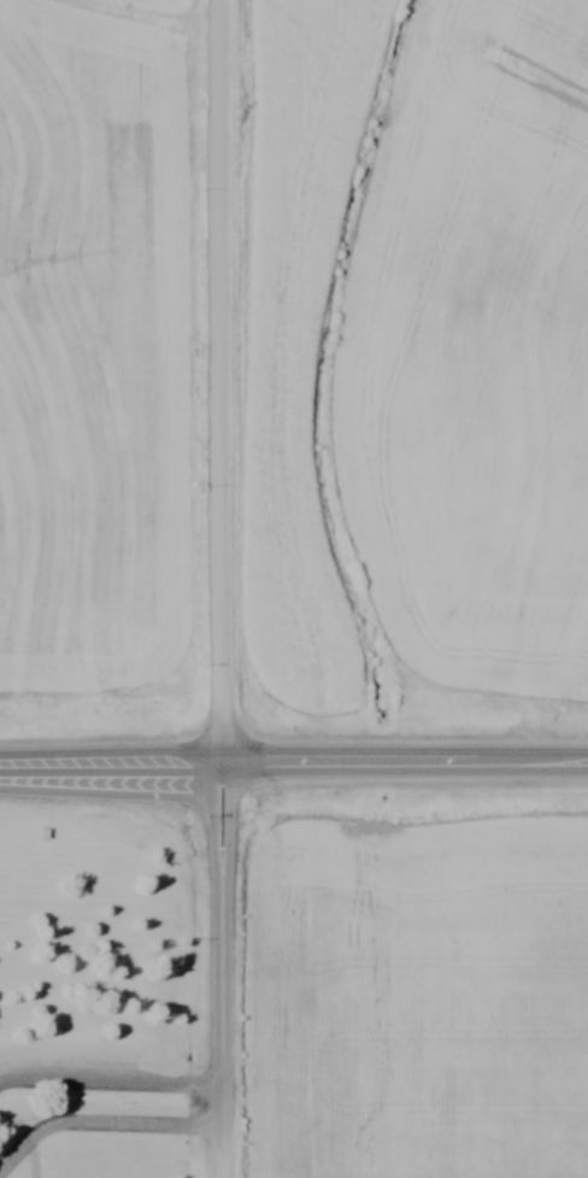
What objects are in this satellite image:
road: (220, 383)
road: (294, 766)
road: (223, 972)
road: (111, 1085)
road: (101, 1123)

